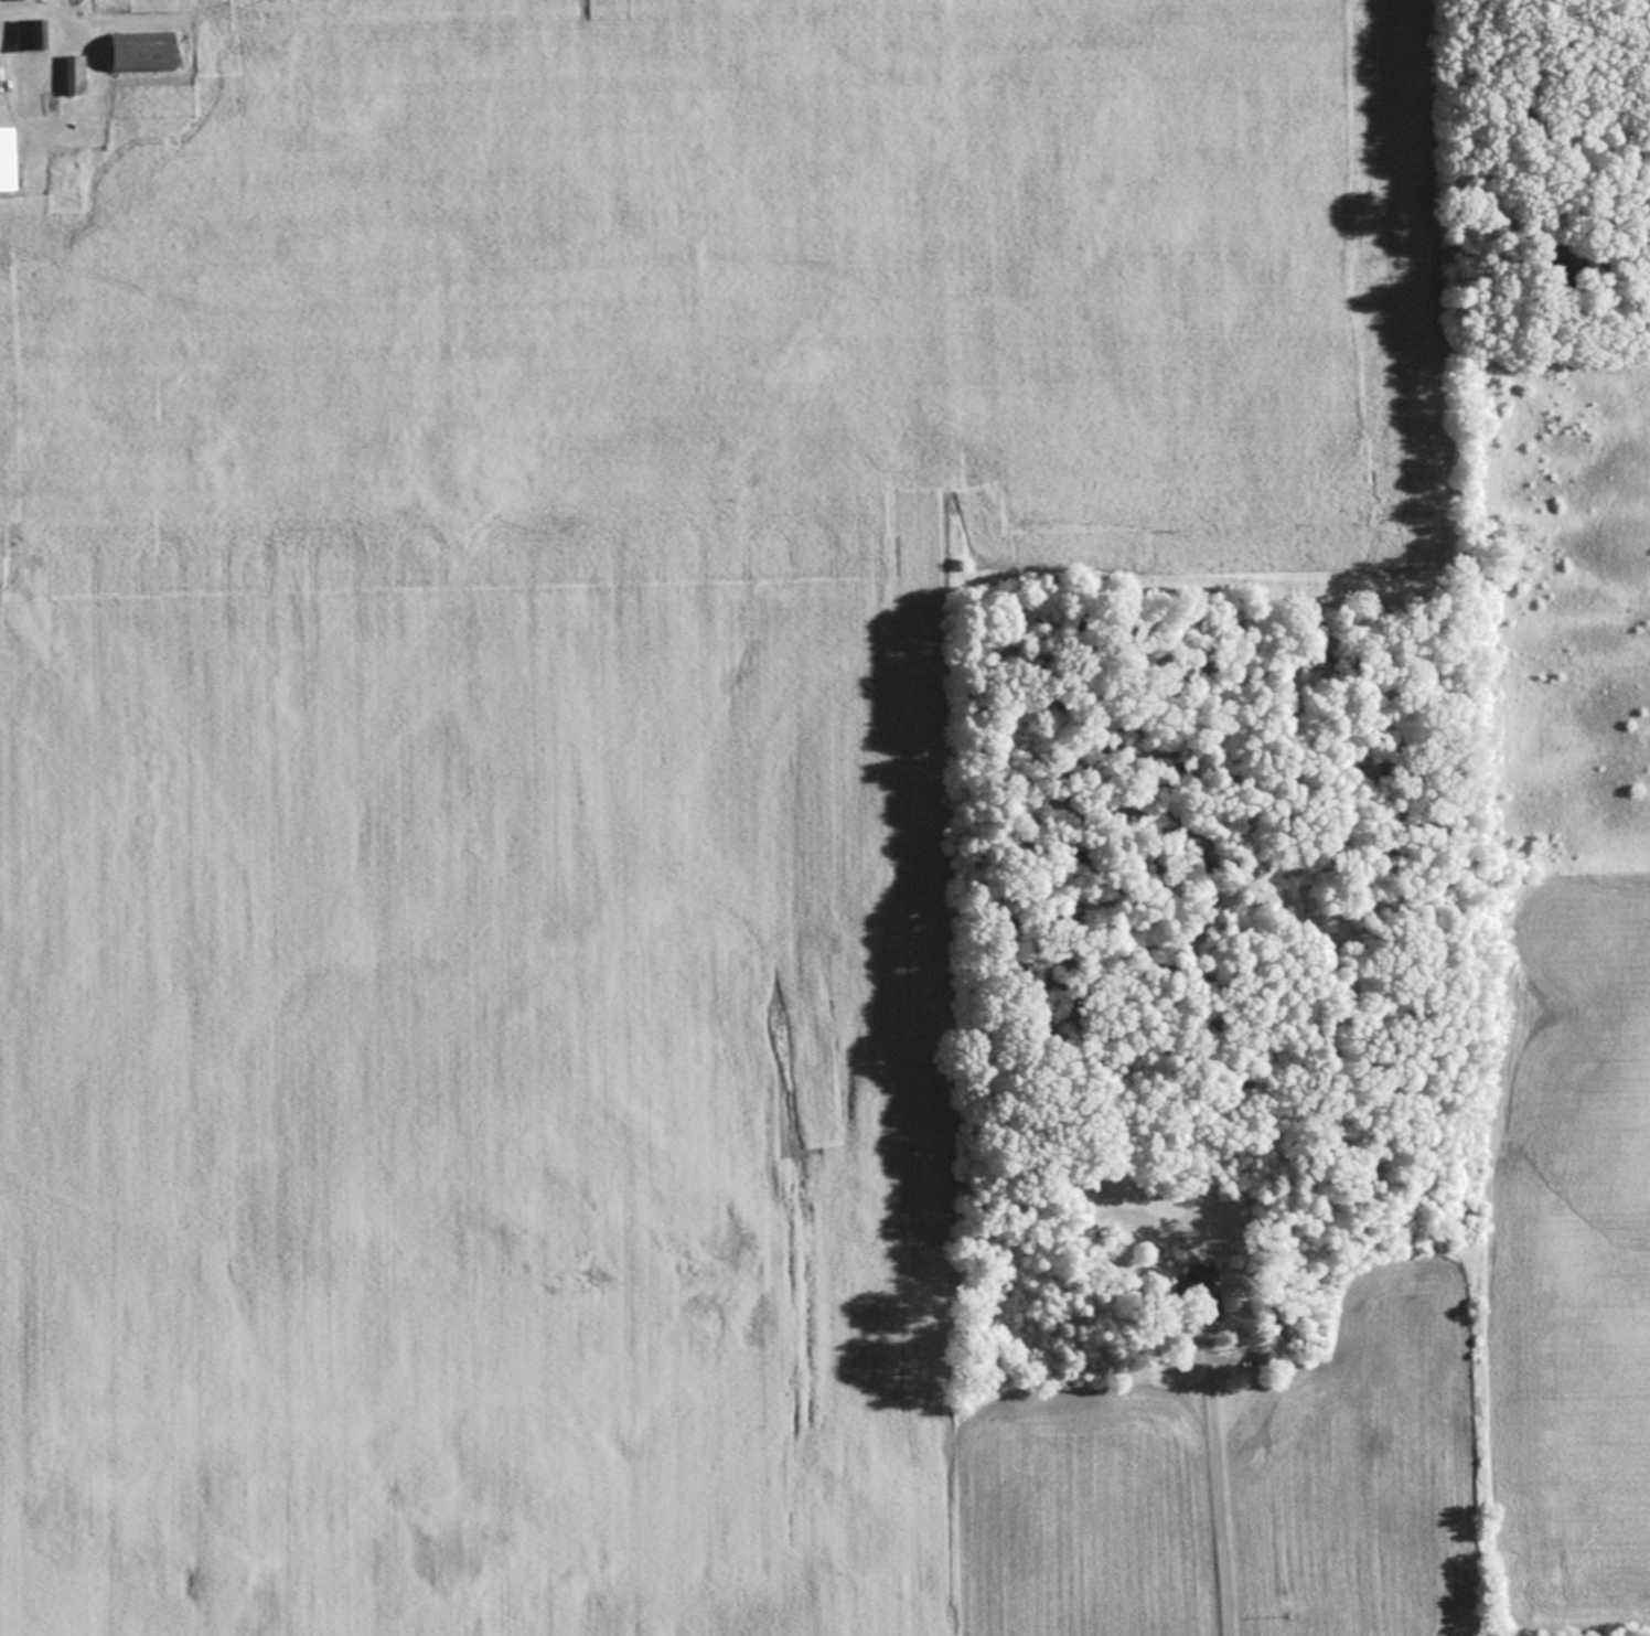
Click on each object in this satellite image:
building: (33, 31)
building: (8, 157)
road: (1218, 1483)

